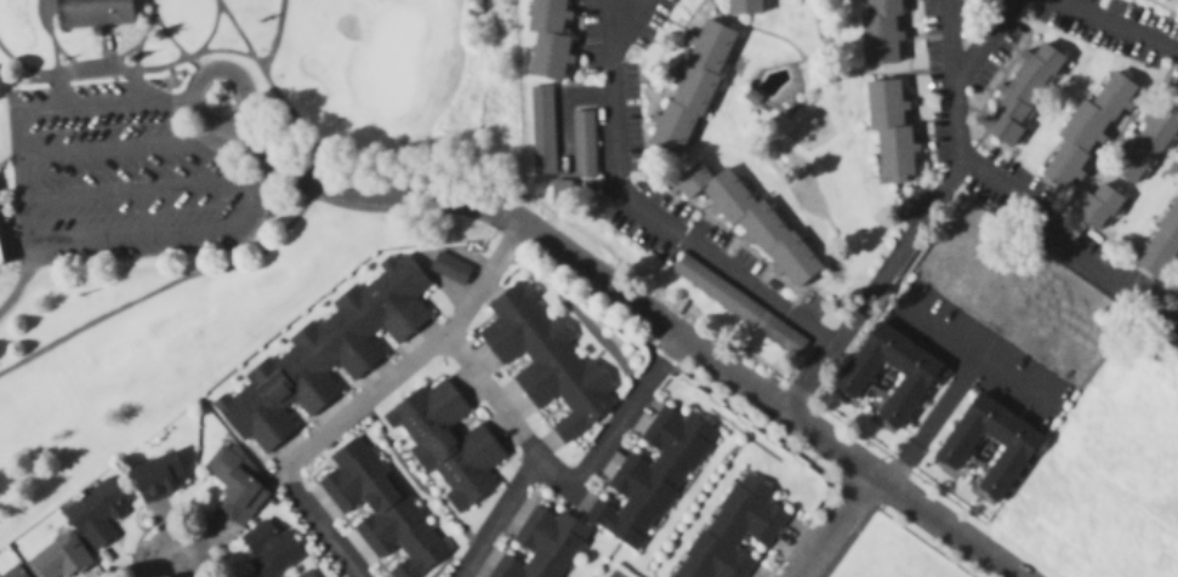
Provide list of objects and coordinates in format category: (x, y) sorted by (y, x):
building: (744, 6)
building: (93, 12)
building: (548, 16)
road: (610, 22)
road: (627, 22)
road: (1114, 25)
building: (882, 32)
road: (52, 38)
road: (206, 40)
road: (950, 42)
road: (985, 42)
road: (110, 51)
building: (552, 56)
road: (197, 57)
road: (133, 65)
road: (261, 65)
road: (32, 67)
road: (207, 72)
building: (690, 91)
building: (1021, 95)
building: (544, 126)
building: (889, 127)
building: (1086, 135)
building: (1149, 138)
building: (582, 144)
road: (118, 149)
parking lot: (123, 179)
road: (143, 192)
park: (216, 192)
road: (362, 193)
building: (1097, 207)
building: (752, 224)
road: (667, 225)
road: (27, 227)
road: (1064, 245)
building: (1161, 248)
road: (895, 255)
building: (1, 258)
building: (0, 265)
road: (229, 268)
building: (451, 269)
building: (727, 297)
building: (783, 337)
building: (318, 345)
building: (546, 362)
road: (1009, 378)
building: (915, 381)
road: (950, 382)
road: (769, 396)
road: (523, 439)
road: (321, 440)
building: (446, 444)
building: (1015, 453)
building: (159, 476)
building: (651, 478)
building: (235, 485)
building: (381, 509)
building: (96, 510)
road: (495, 518)
road: (835, 525)
building: (734, 531)
building: (545, 544)
building: (269, 549)
building: (50, 554)
road: (175, 562)
park: (611, 571)
building: (12, 572)
building: (307, 575)
park: (614, 575)

